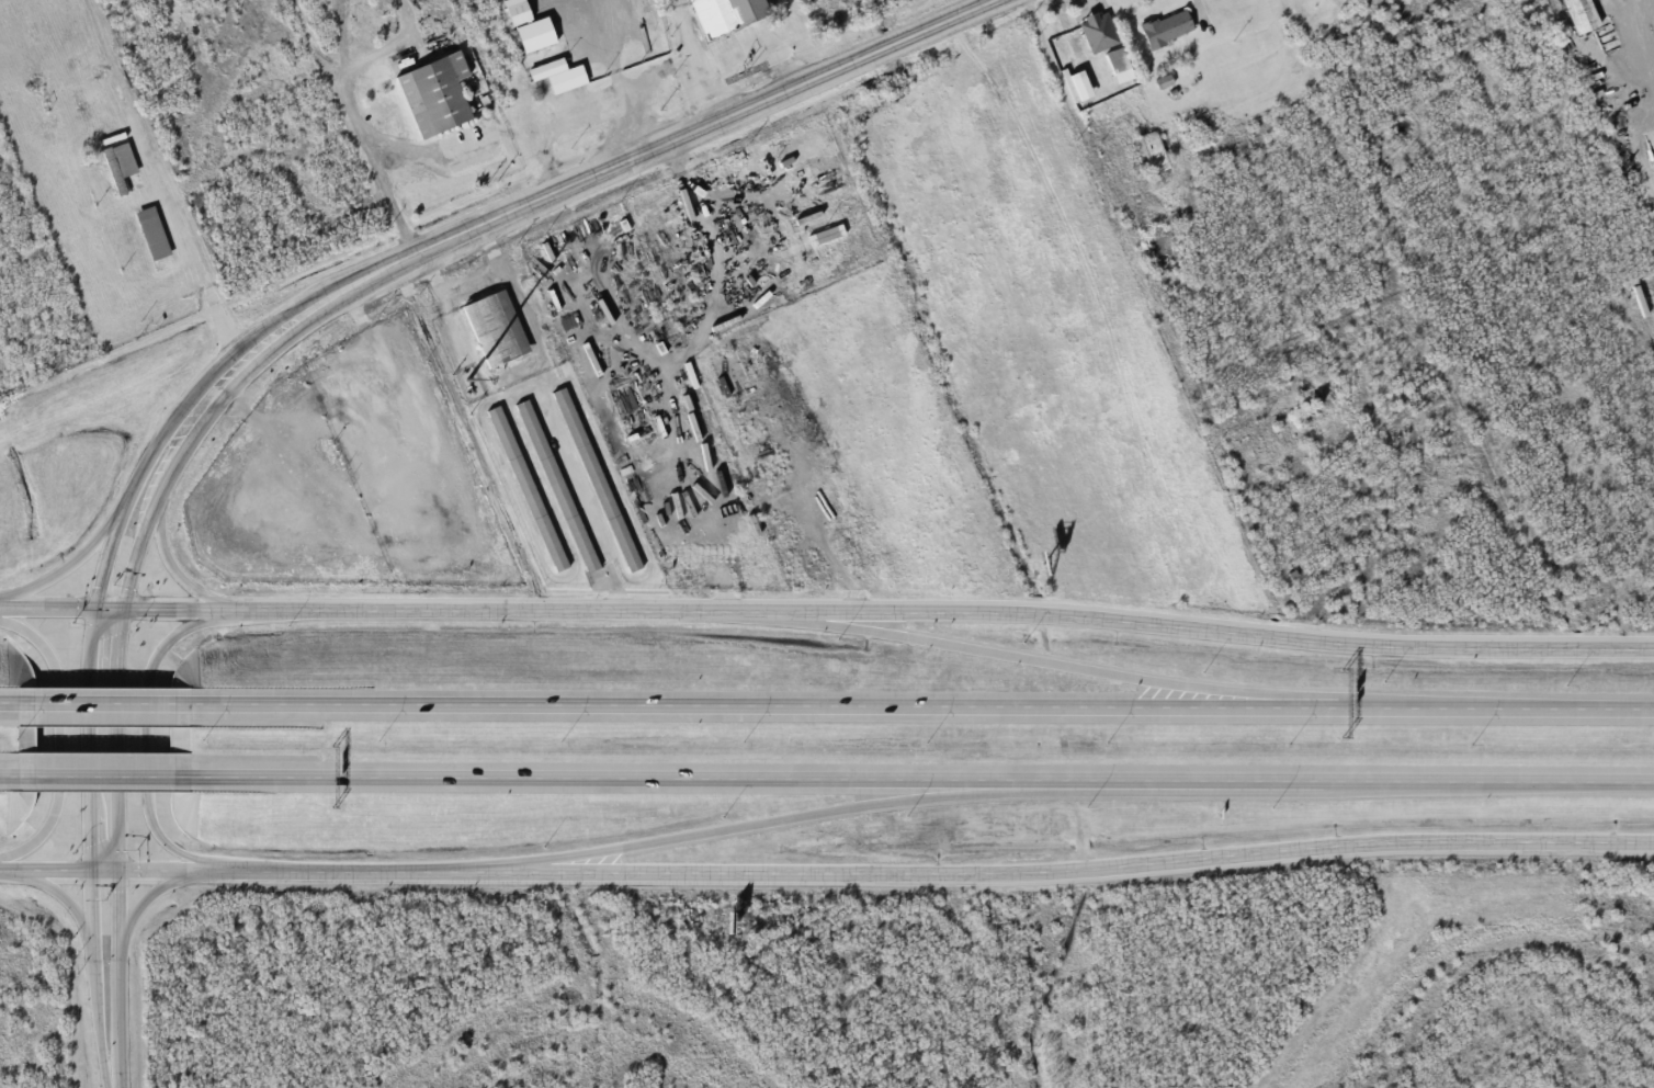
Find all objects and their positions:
building: (1332, 0)
building: (726, 14)
building: (1581, 15)
building: (1167, 29)
building: (530, 30)
building: (1098, 31)
building: (1118, 61)
building: (574, 76)
building: (435, 94)
building: (95, 118)
road: (655, 149)
building: (1153, 154)
building: (116, 167)
building: (145, 236)
building: (492, 320)
building: (598, 471)
building: (558, 477)
building: (529, 483)
road: (113, 542)
road: (137, 553)
road: (70, 563)
road: (179, 573)
road: (355, 605)
traffic signals: (95, 607)
traffic signals: (124, 608)
road: (1182, 622)
road: (1086, 668)
road: (7, 704)
road: (102, 704)
road: (921, 706)
road: (147, 727)
road: (57, 739)
road: (922, 779)
road: (7, 780)
road: (103, 780)
road: (760, 825)
road: (44, 869)
traffic signals: (89, 869)
traffic signals: (121, 869)
road: (272, 869)
road: (1055, 877)
road: (94, 968)
road: (120, 968)
road: (111, 1078)

